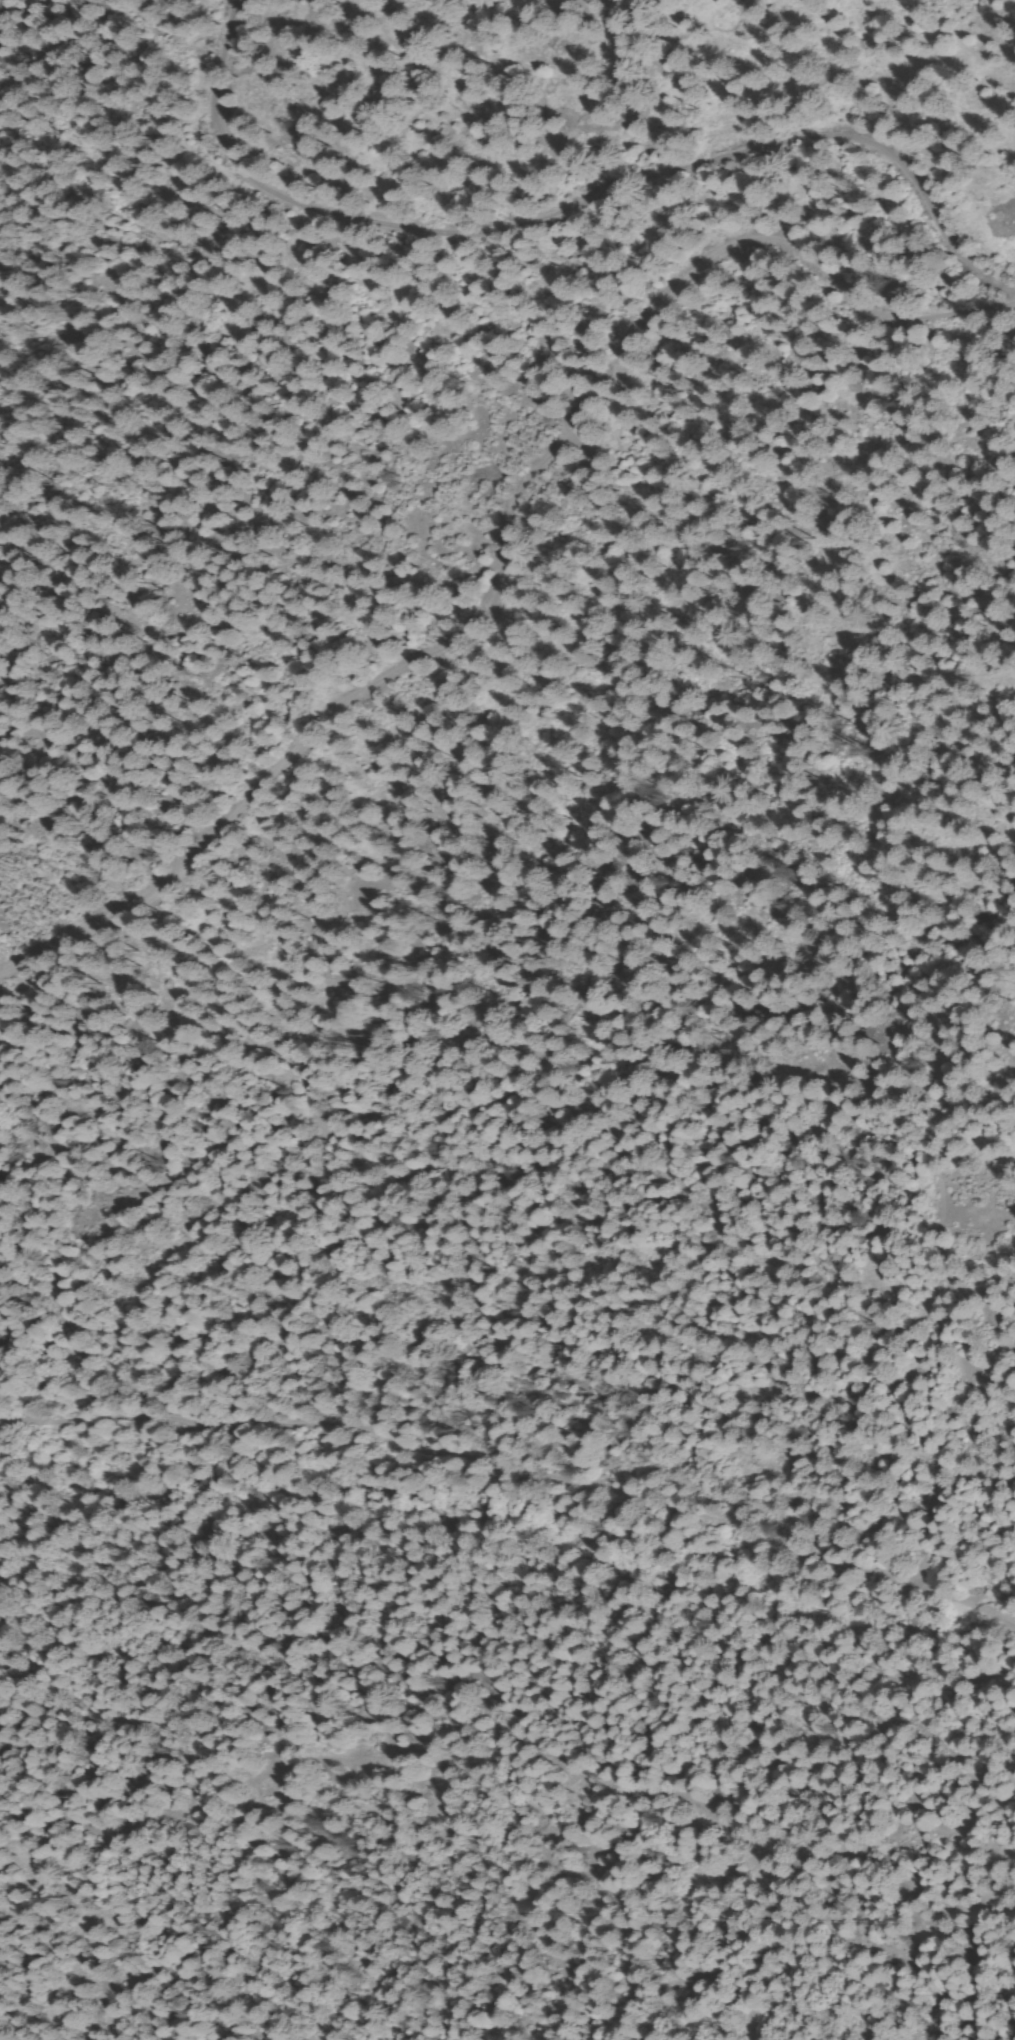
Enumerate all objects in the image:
road: (613, 175)

